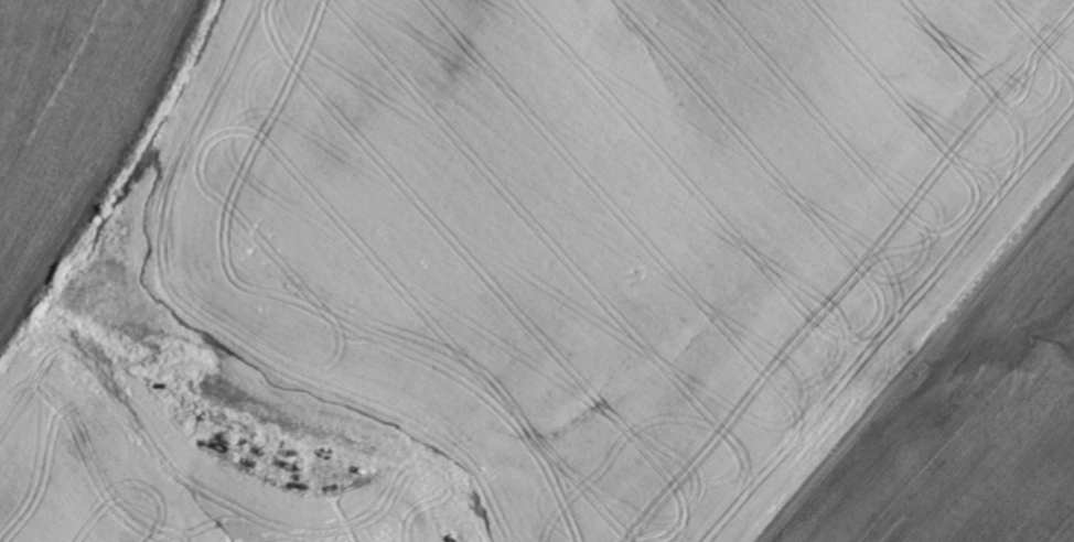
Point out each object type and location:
road: (915, 355)

